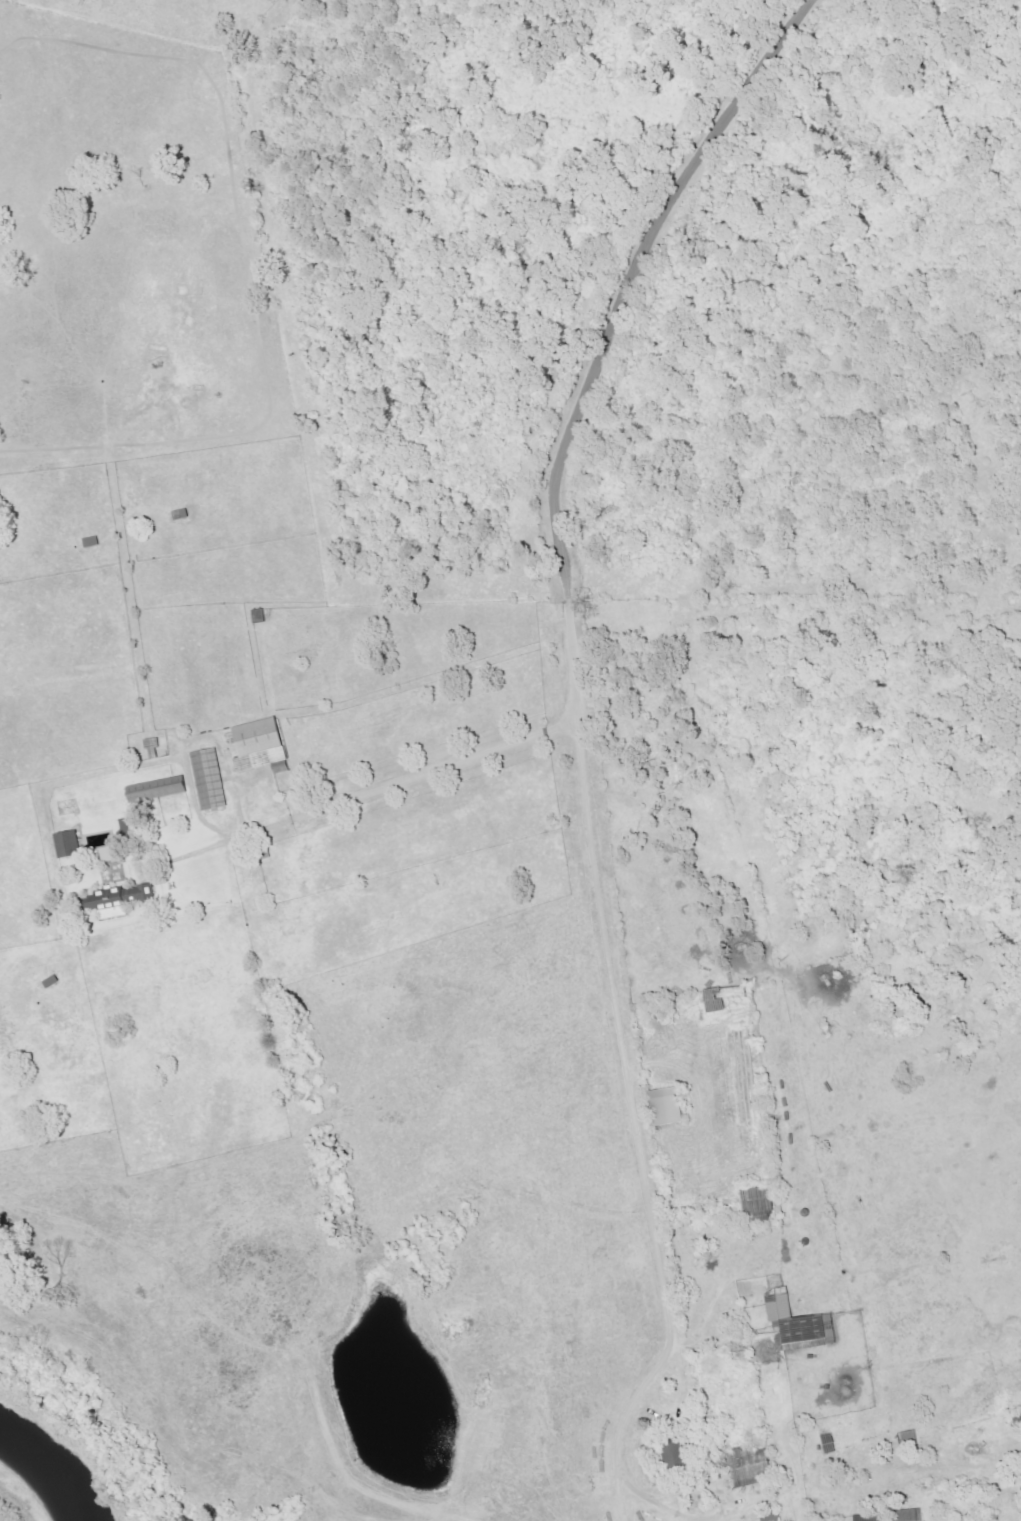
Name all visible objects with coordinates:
road: (598, 336)
road: (587, 740)
building: (262, 746)
building: (210, 779)
building: (158, 789)
building: (69, 844)
building: (112, 853)
building: (717, 1000)
building: (668, 1106)
building: (798, 1320)
building: (751, 1467)
building: (772, 1516)
building: (871, 1518)

